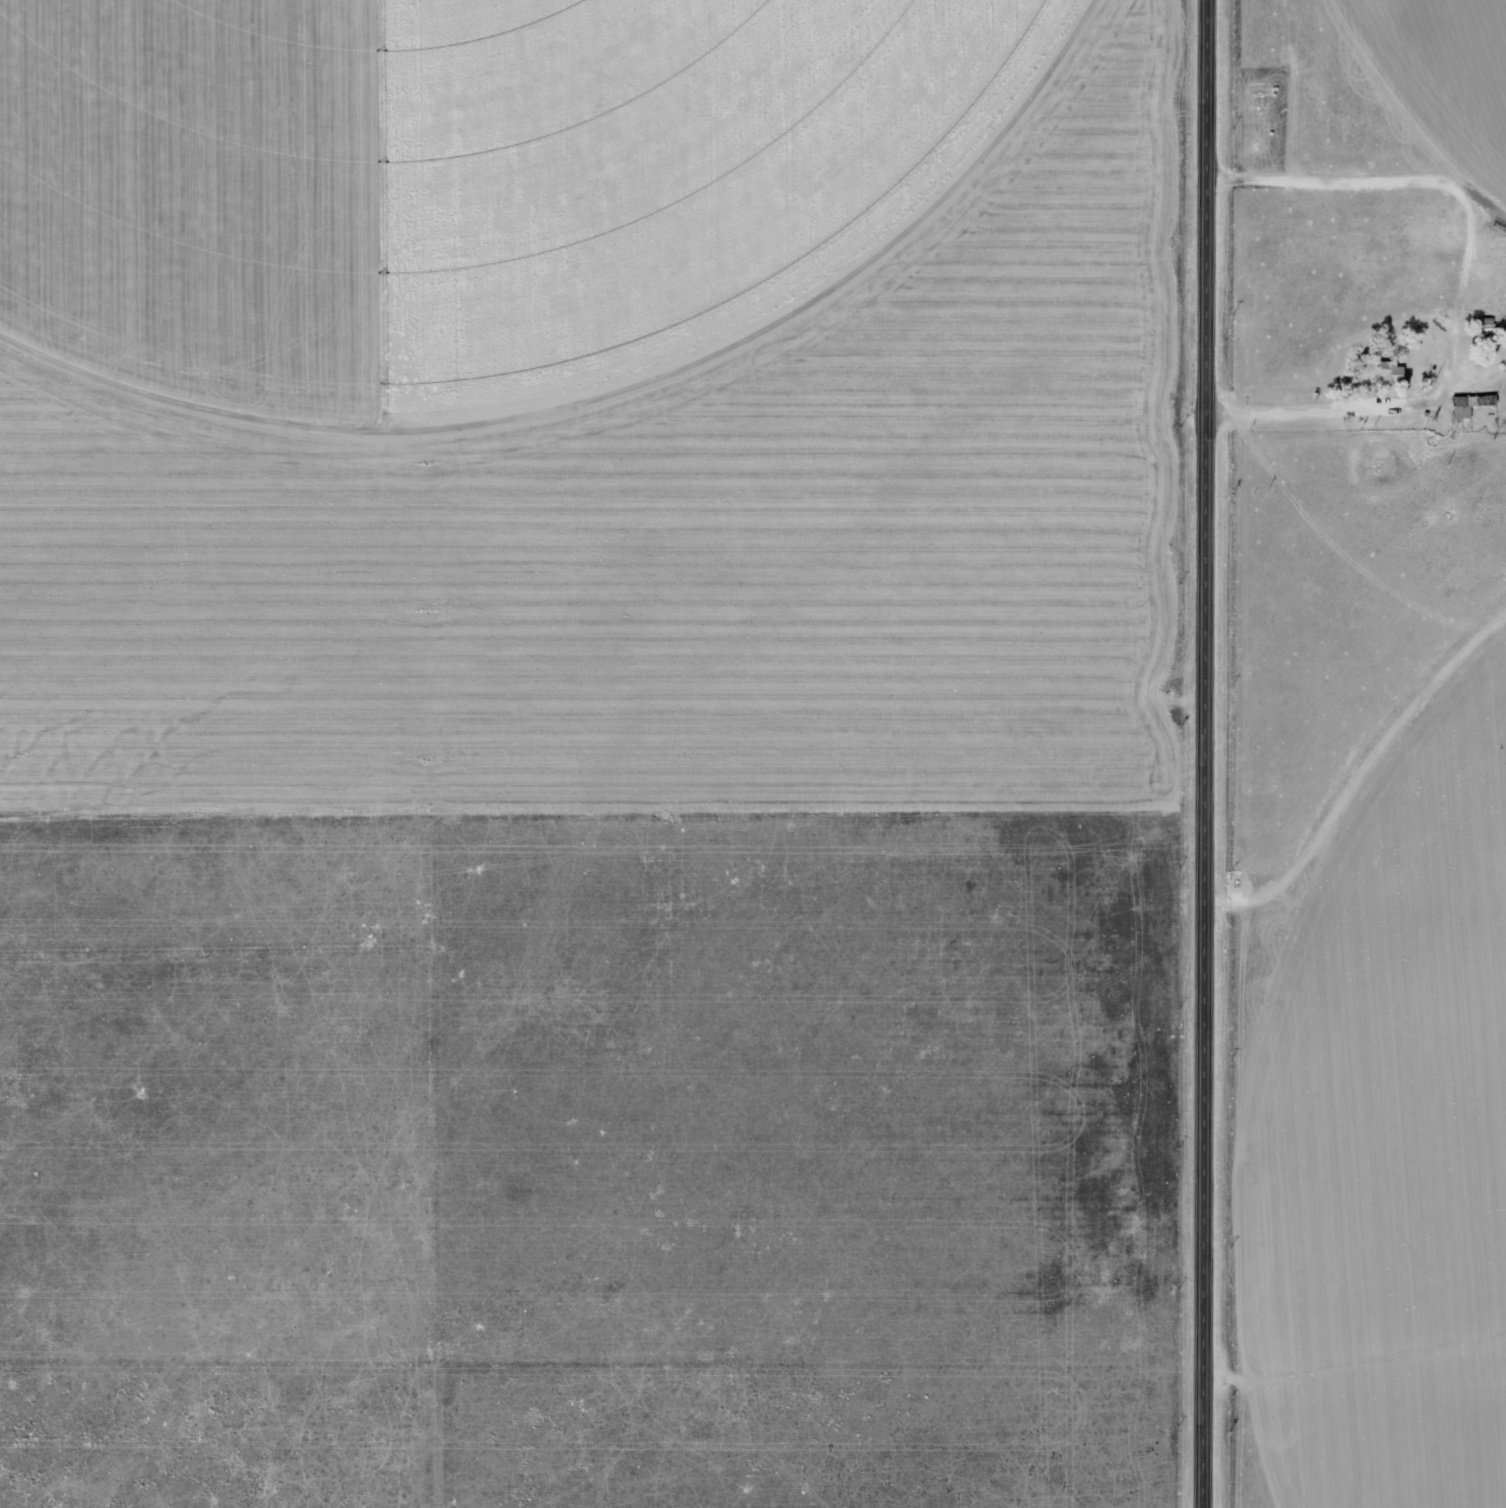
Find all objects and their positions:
road: (1207, 754)

